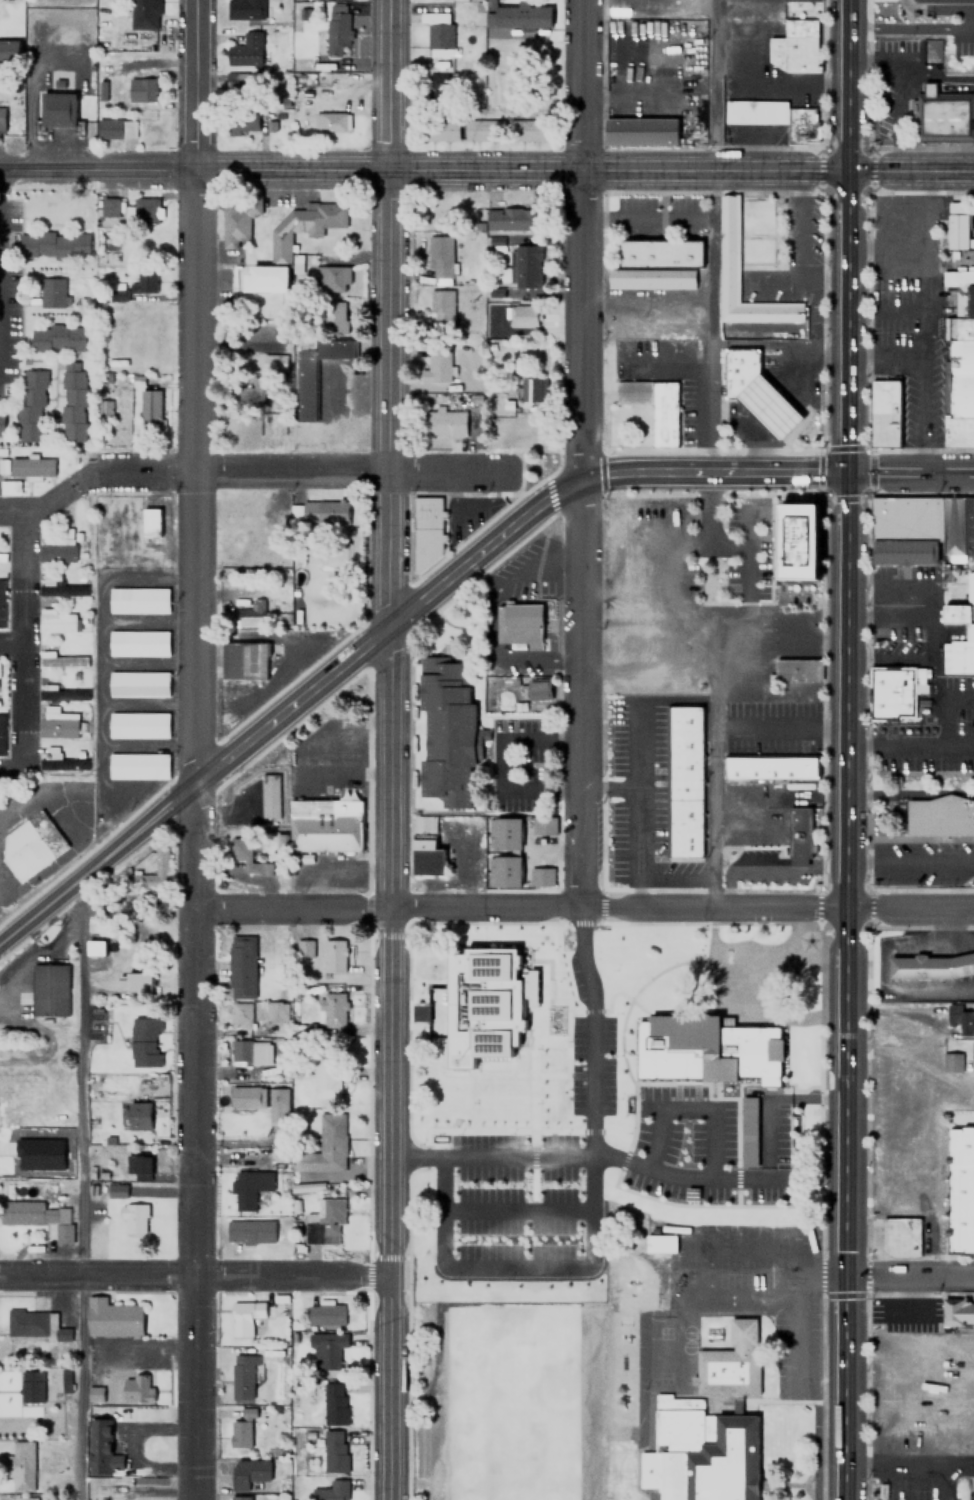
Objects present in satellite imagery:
building: (244, 10)
building: (144, 14)
building: (516, 16)
building: (338, 29)
building: (437, 33)
building: (797, 38)
building: (245, 49)
building: (9, 52)
building: (240, 83)
road: (195, 85)
building: (141, 89)
building: (436, 90)
building: (932, 90)
building: (57, 109)
building: (1, 118)
building: (774, 118)
building: (945, 118)
building: (330, 121)
building: (243, 123)
building: (115, 128)
building: (440, 130)
building: (482, 130)
building: (528, 131)
building: (640, 131)
road: (97, 170)
road: (584, 172)
building: (108, 208)
building: (146, 209)
building: (516, 219)
building: (235, 222)
building: (957, 225)
building: (760, 231)
road: (713, 235)
building: (52, 245)
building: (728, 248)
building: (278, 252)
building: (439, 257)
building: (298, 264)
building: (655, 264)
building: (527, 267)
road: (17, 276)
building: (331, 279)
building: (143, 280)
building: (51, 292)
building: (119, 295)
building: (441, 310)
building: (522, 315)
building: (333, 318)
building: (57, 338)
building: (272, 363)
building: (959, 363)
building: (436, 366)
building: (314, 370)
building: (739, 370)
building: (261, 389)
building: (527, 390)
building: (73, 403)
building: (30, 406)
building: (653, 406)
building: (769, 408)
building: (101, 410)
building: (885, 414)
building: (1, 424)
building: (443, 424)
building: (610, 435)
road: (588, 453)
road: (302, 465)
building: (26, 467)
road: (717, 470)
traffic signals: (847, 470)
road: (910, 470)
building: (8, 487)
road: (10, 502)
building: (317, 513)
building: (905, 520)
building: (150, 523)
building: (236, 524)
building: (957, 527)
building: (426, 532)
building: (797, 543)
building: (57, 549)
building: (904, 553)
building: (1, 558)
building: (973, 564)
road: (949, 583)
road: (906, 584)
building: (57, 585)
road: (847, 586)
building: (969, 588)
road: (20, 594)
building: (139, 595)
building: (1, 604)
building: (958, 615)
building: (247, 616)
building: (56, 622)
building: (519, 626)
building: (970, 633)
road: (10, 634)
building: (140, 638)
road: (934, 639)
building: (958, 657)
building: (62, 661)
building: (243, 662)
building: (795, 670)
building: (139, 679)
building: (530, 690)
road: (867, 692)
building: (61, 693)
building: (889, 694)
road: (290, 703)
road: (944, 707)
building: (140, 719)
road: (897, 723)
building: (59, 724)
building: (446, 729)
building: (1, 735)
road: (639, 735)
road: (896, 746)
road: (959, 747)
road: (390, 749)
road: (3, 760)
building: (58, 761)
building: (139, 761)
building: (770, 767)
building: (683, 782)
road: (910, 793)
building: (271, 795)
parking lot: (640, 798)
road: (712, 798)
building: (940, 815)
building: (325, 824)
building: (423, 824)
building: (543, 824)
building: (504, 832)
road: (196, 835)
building: (799, 835)
building: (427, 836)
road: (920, 838)
building: (31, 839)
road: (639, 848)
building: (431, 853)
building: (246, 856)
building: (160, 860)
road: (910, 863)
road: (769, 865)
building: (503, 870)
building: (541, 875)
road: (819, 905)
road: (585, 906)
building: (95, 947)
building: (302, 947)
building: (333, 955)
building: (240, 960)
building: (931, 966)
road: (808, 967)
building: (134, 981)
building: (48, 989)
building: (332, 1009)
building: (275, 1010)
building: (497, 1011)
building: (240, 1013)
building: (440, 1015)
building: (962, 1017)
road: (744, 1018)
building: (145, 1041)
building: (710, 1048)
building: (237, 1051)
building: (260, 1052)
building: (972, 1055)
building: (952, 1063)
park: (619, 1066)
building: (325, 1077)
building: (246, 1096)
road: (768, 1098)
building: (277, 1105)
road: (688, 1109)
building: (752, 1113)
building: (138, 1115)
building: (328, 1143)
building: (41, 1153)
road: (593, 1156)
building: (137, 1167)
building: (249, 1187)
building: (962, 1189)
road: (77, 1191)
road: (517, 1211)
road: (593, 1213)
building: (37, 1216)
building: (133, 1218)
building: (324, 1222)
building: (249, 1231)
building: (900, 1236)
building: (660, 1243)
road: (194, 1270)
road: (910, 1277)
building: (958, 1311)
building: (325, 1314)
building: (243, 1317)
building: (112, 1318)
building: (33, 1323)
road: (846, 1337)
building: (326, 1349)
building: (242, 1376)
building: (66, 1379)
building: (31, 1387)
park: (509, 1388)
building: (136, 1389)
building: (96, 1394)
building: (334, 1403)
building: (708, 1429)
building: (239, 1433)
building: (101, 1448)
building: (334, 1451)
road: (909, 1464)
building: (22, 1465)
building: (239, 1475)
building: (330, 1490)
building: (26, 1498)
building: (239, 1498)

